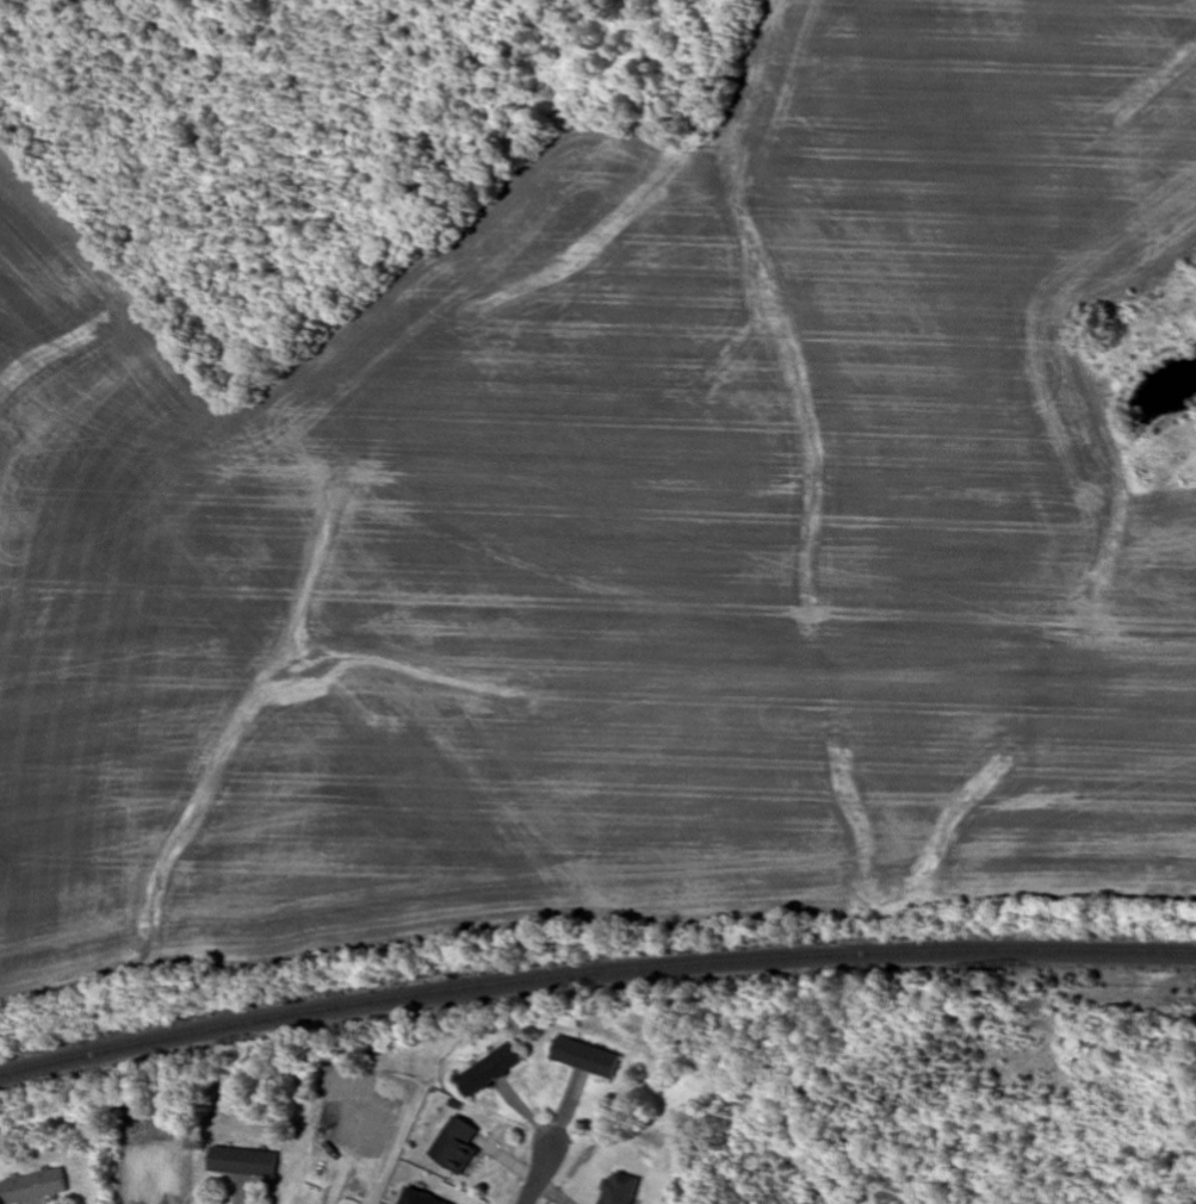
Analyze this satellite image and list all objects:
railway: (593, 972)
building: (585, 1056)
building: (490, 1069)
building: (457, 1144)
building: (242, 1162)
road: (538, 1175)
building: (336, 1183)
building: (35, 1186)
building: (619, 1189)
building: (420, 1198)

